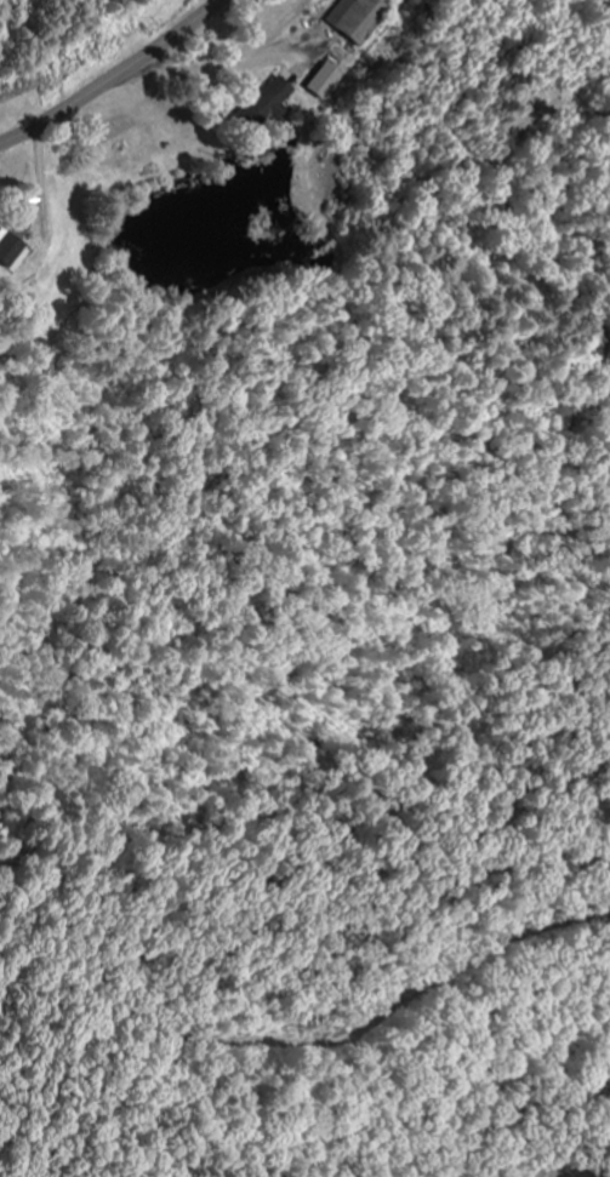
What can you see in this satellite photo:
building: (366, 18)
road: (118, 78)
building: (332, 80)
building: (277, 102)
building: (8, 248)

